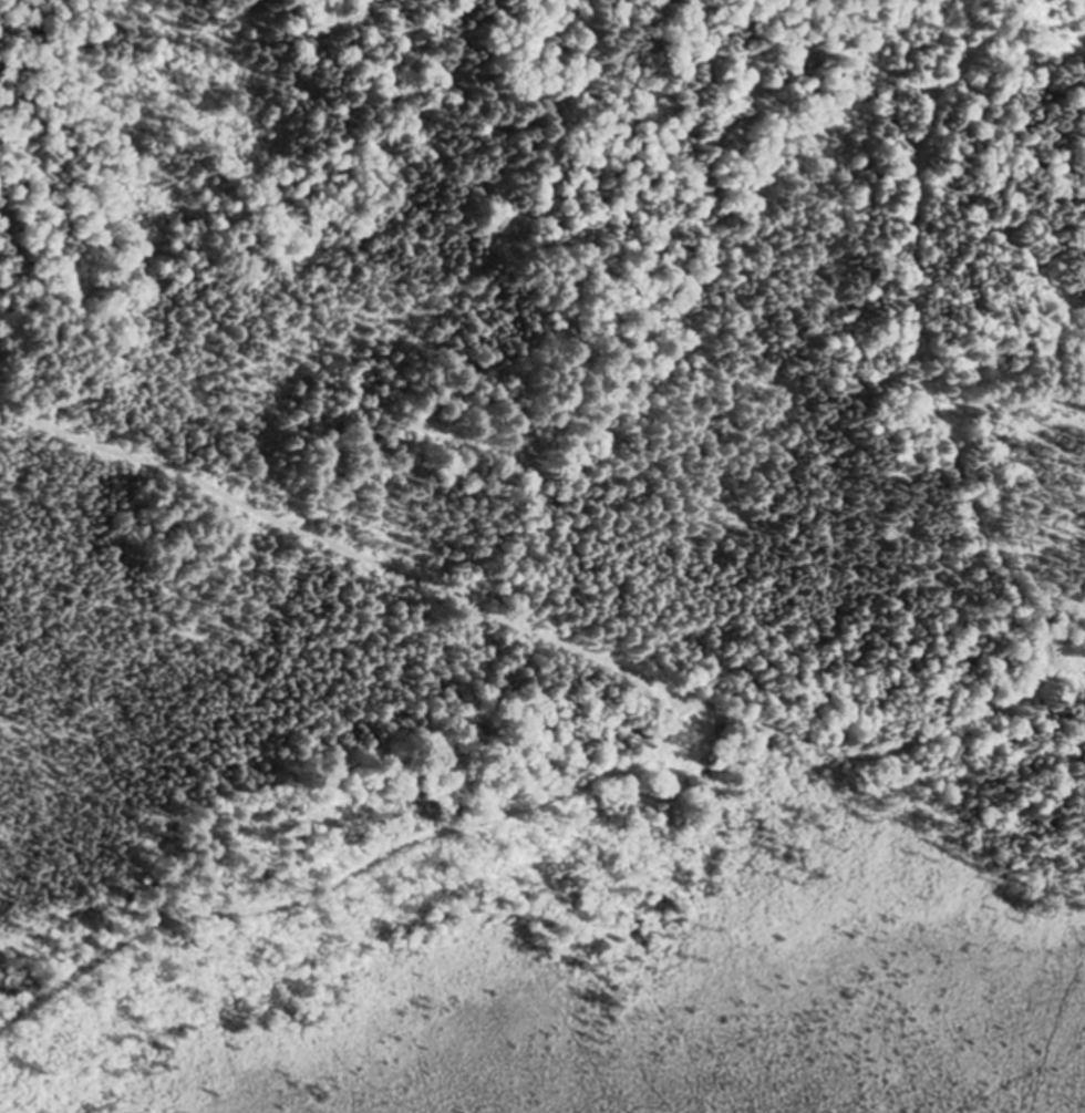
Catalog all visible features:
road: (440, 546)

